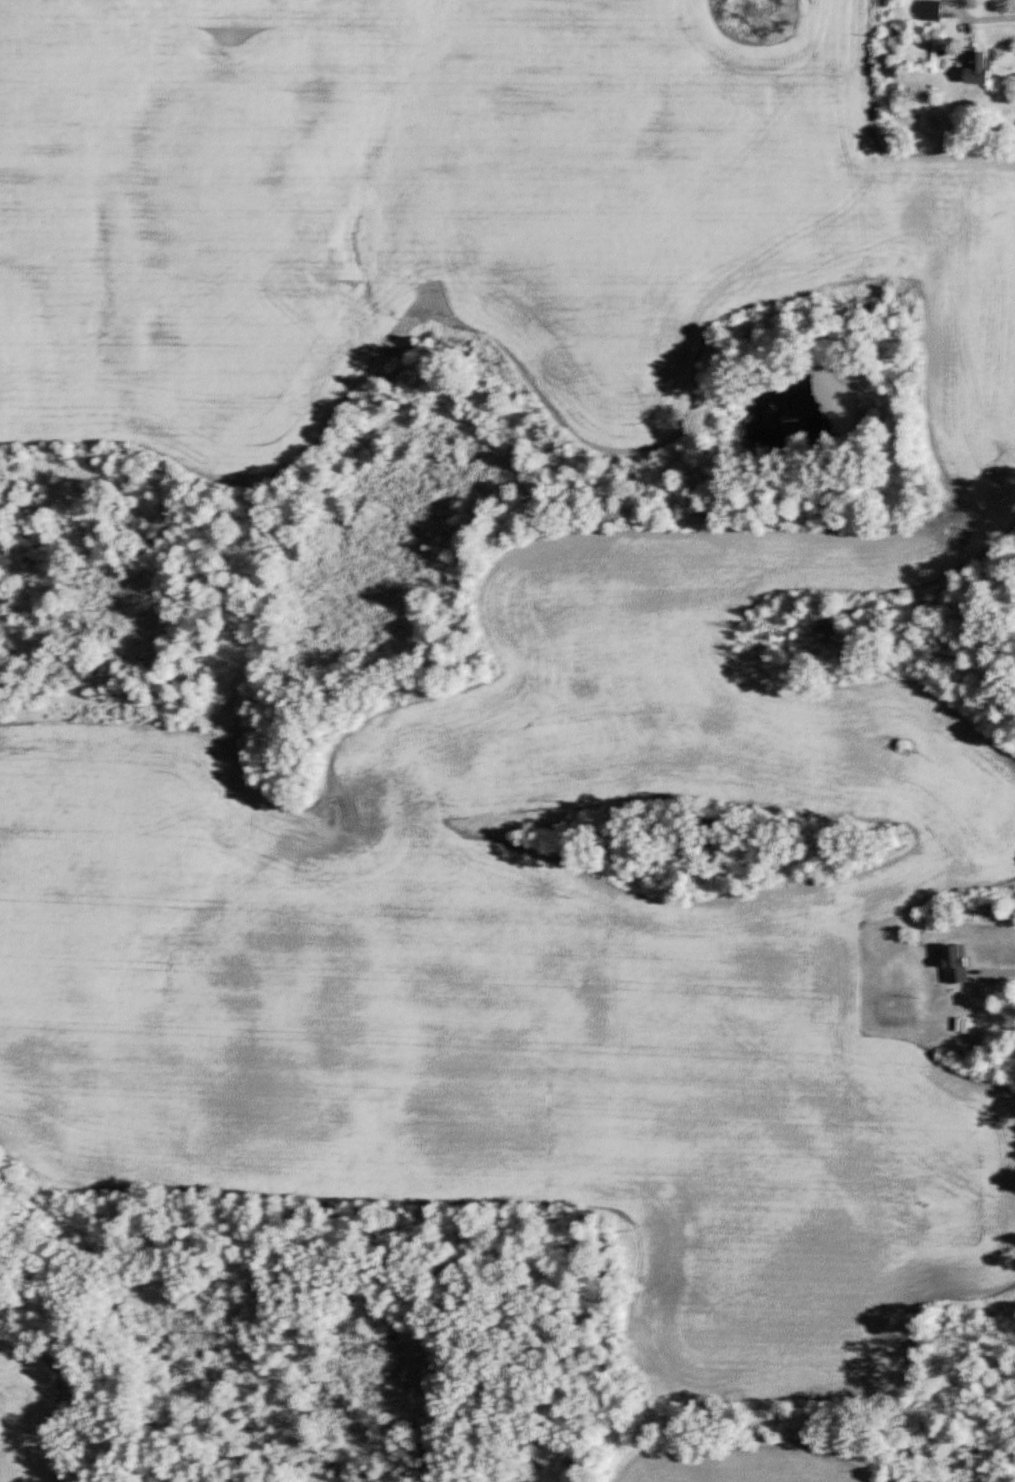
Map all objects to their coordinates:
building: (916, 12)
road: (980, 18)
building: (981, 66)
building: (957, 963)

